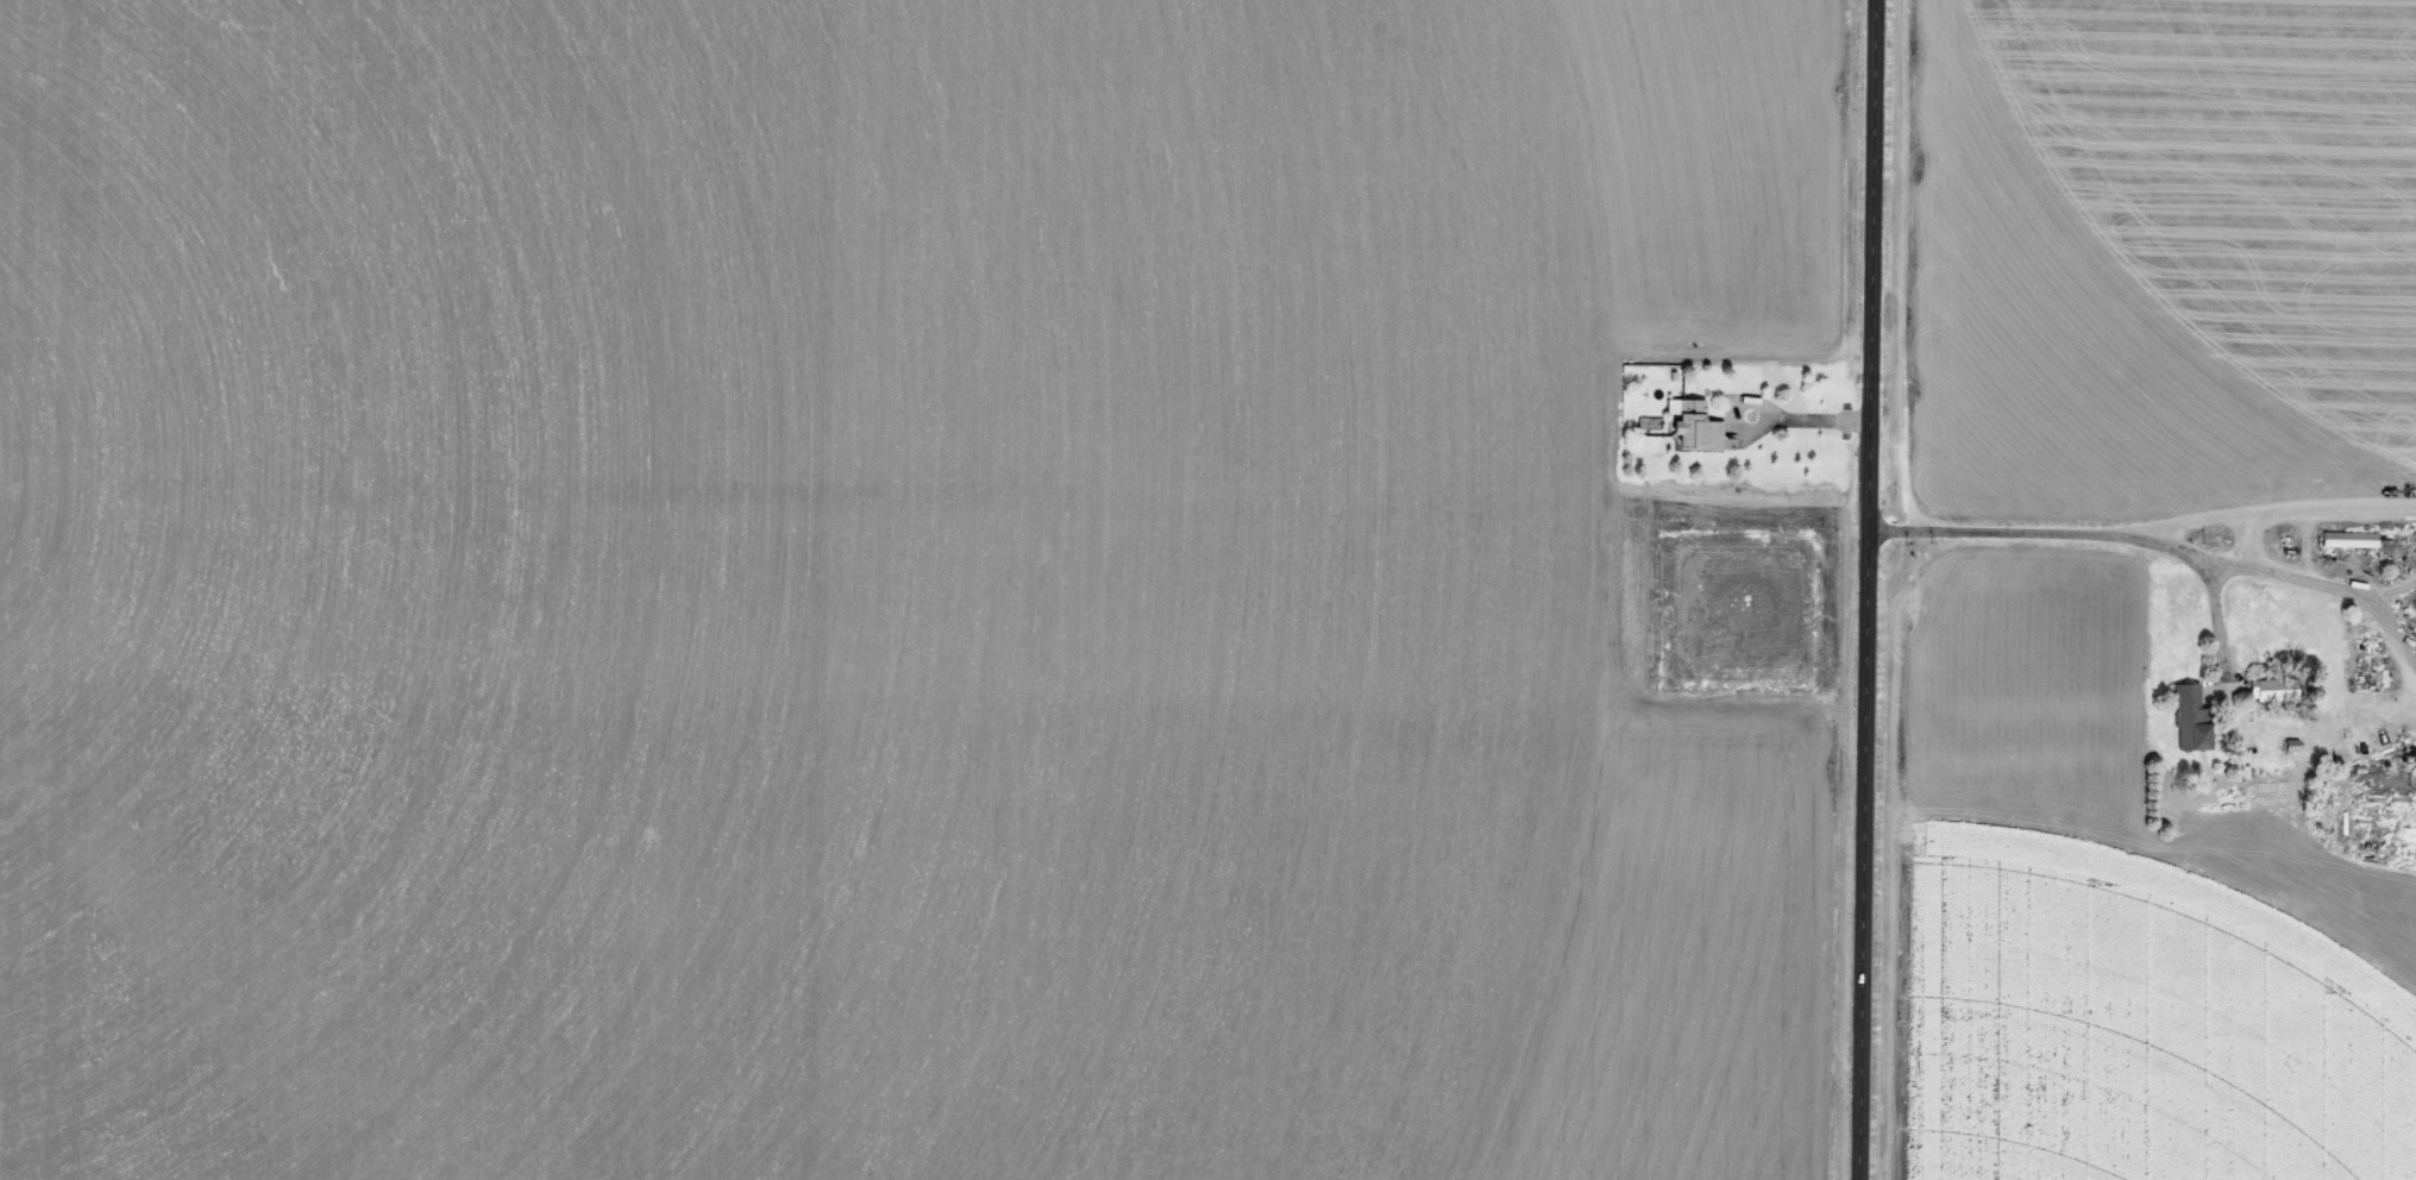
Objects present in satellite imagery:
road: (2091, 534)
building: (2351, 539)
road: (1872, 590)
building: (2186, 702)

